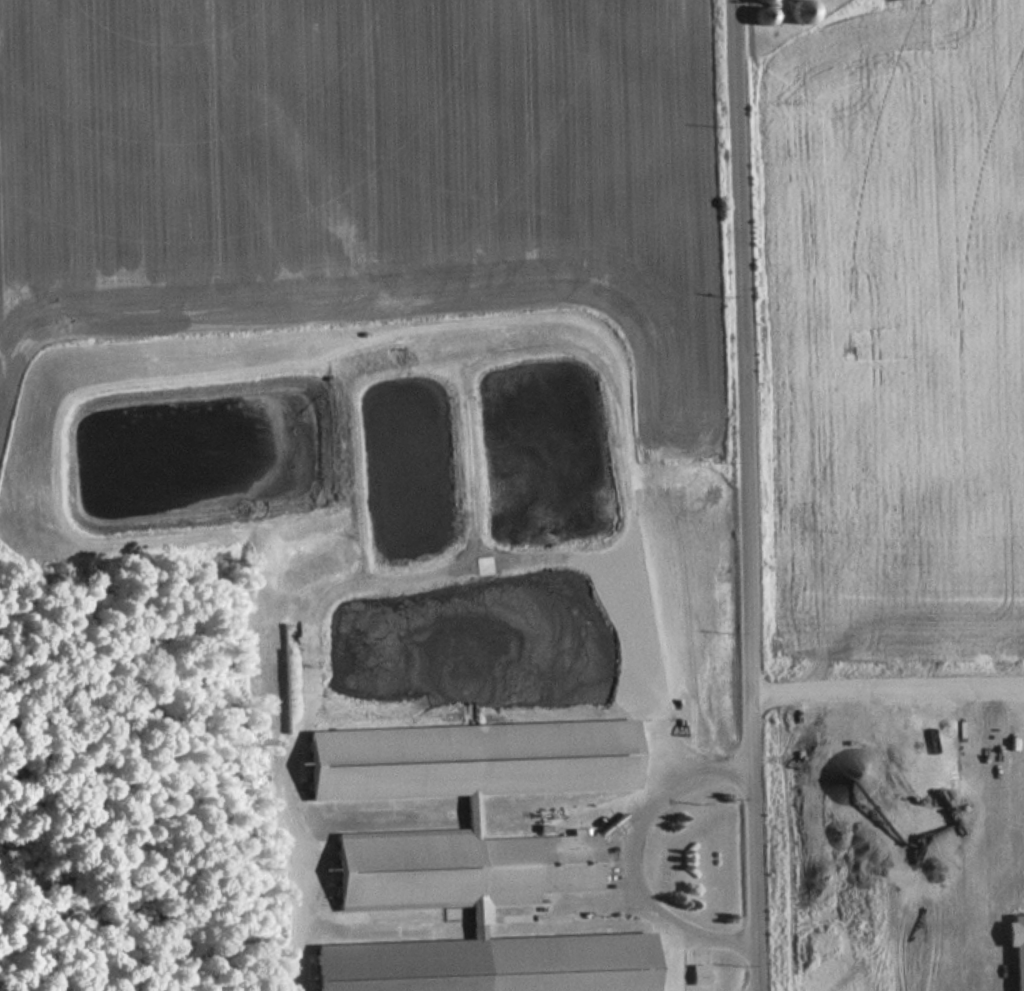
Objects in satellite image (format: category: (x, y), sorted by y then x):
building: (764, 2)
building: (804, 14)
building: (765, 18)
road: (748, 495)
road: (359, 575)
road: (627, 847)
building: (475, 854)
road: (665, 952)
building: (700, 975)

